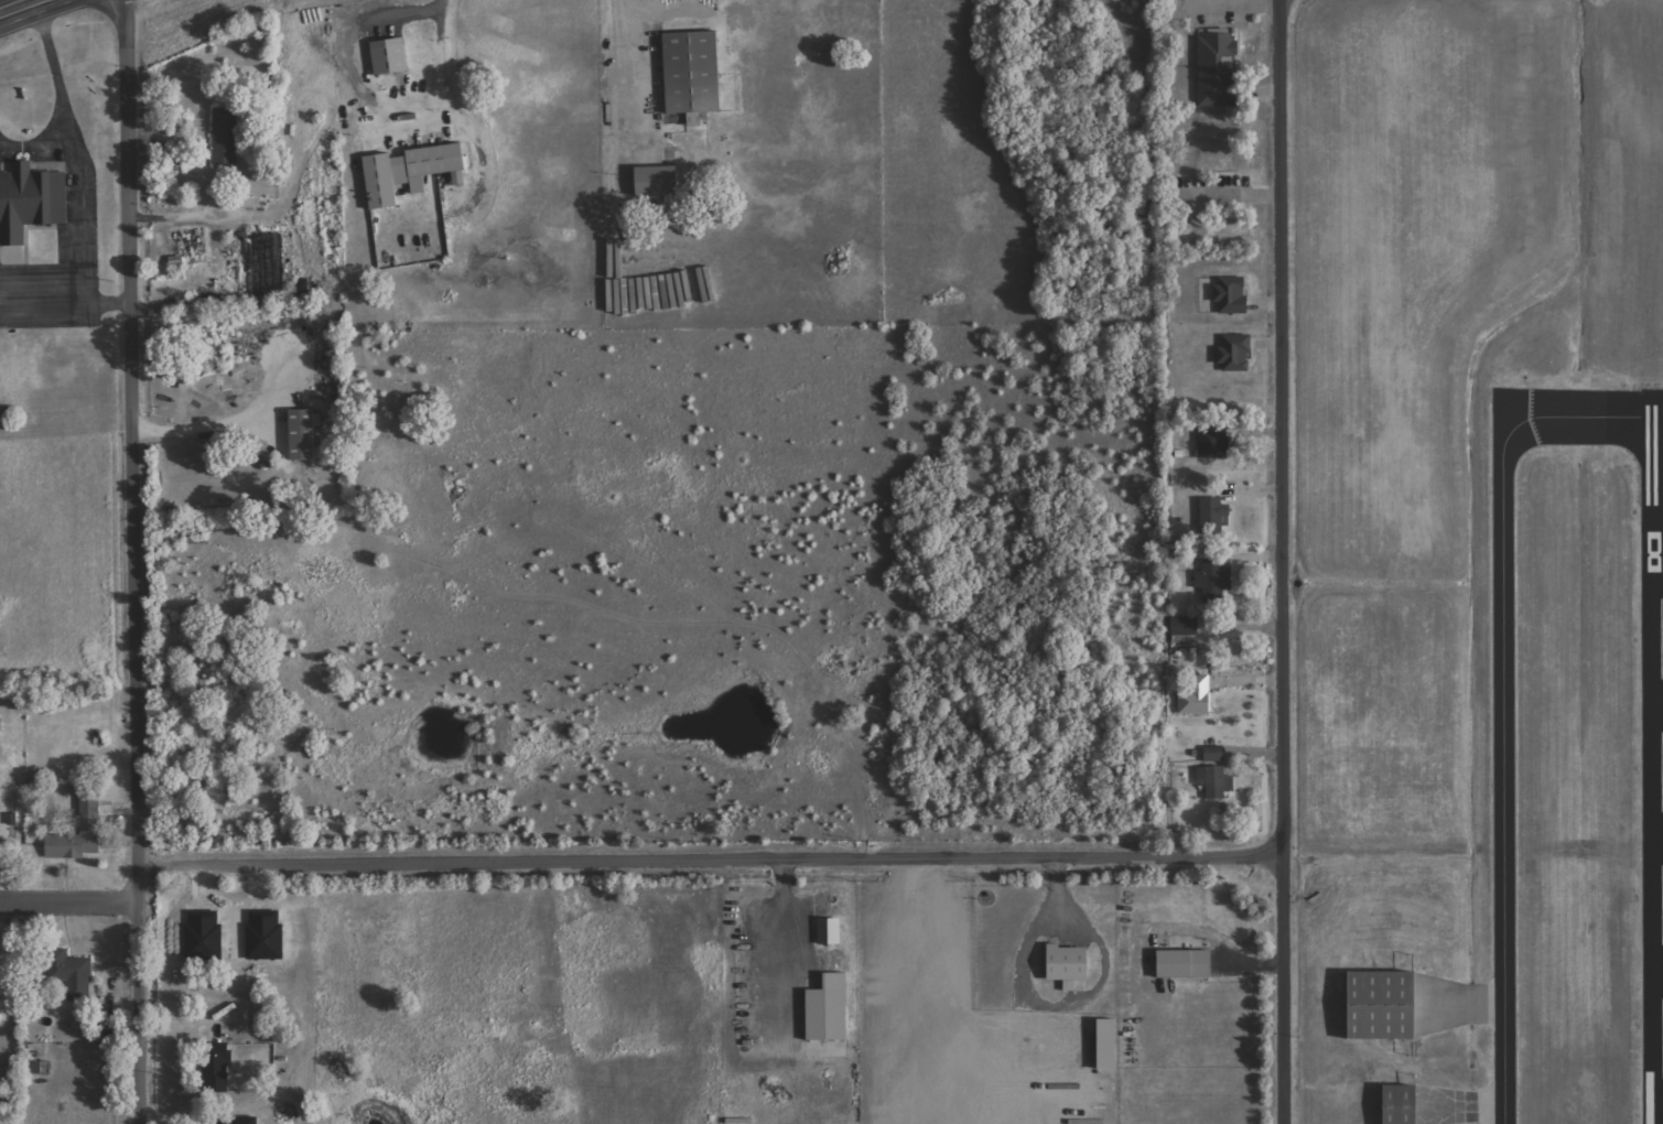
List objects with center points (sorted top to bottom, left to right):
road: (17, 6)
building: (391, 57)
building: (1218, 71)
building: (699, 87)
building: (226, 137)
building: (411, 172)
building: (658, 182)
building: (31, 203)
building: (1232, 295)
building: (1235, 354)
road: (1283, 428)
building: (305, 436)
building: (1216, 443)
building: (1214, 516)
road: (131, 562)
building: (1214, 580)
building: (1186, 630)
airport runway: (1662, 639)
building: (1198, 700)
airport taxiway: (1502, 700)
building: (0, 726)
building: (1217, 774)
building: (79, 832)
road: (711, 861)
road: (66, 903)
building: (830, 931)
building: (1, 959)
building: (1185, 963)
building: (1070, 965)
building: (73, 974)
road: (1283, 991)
building: (1384, 1006)
building: (830, 1009)
building: (1109, 1044)
building: (216, 1067)
building: (1401, 1104)

